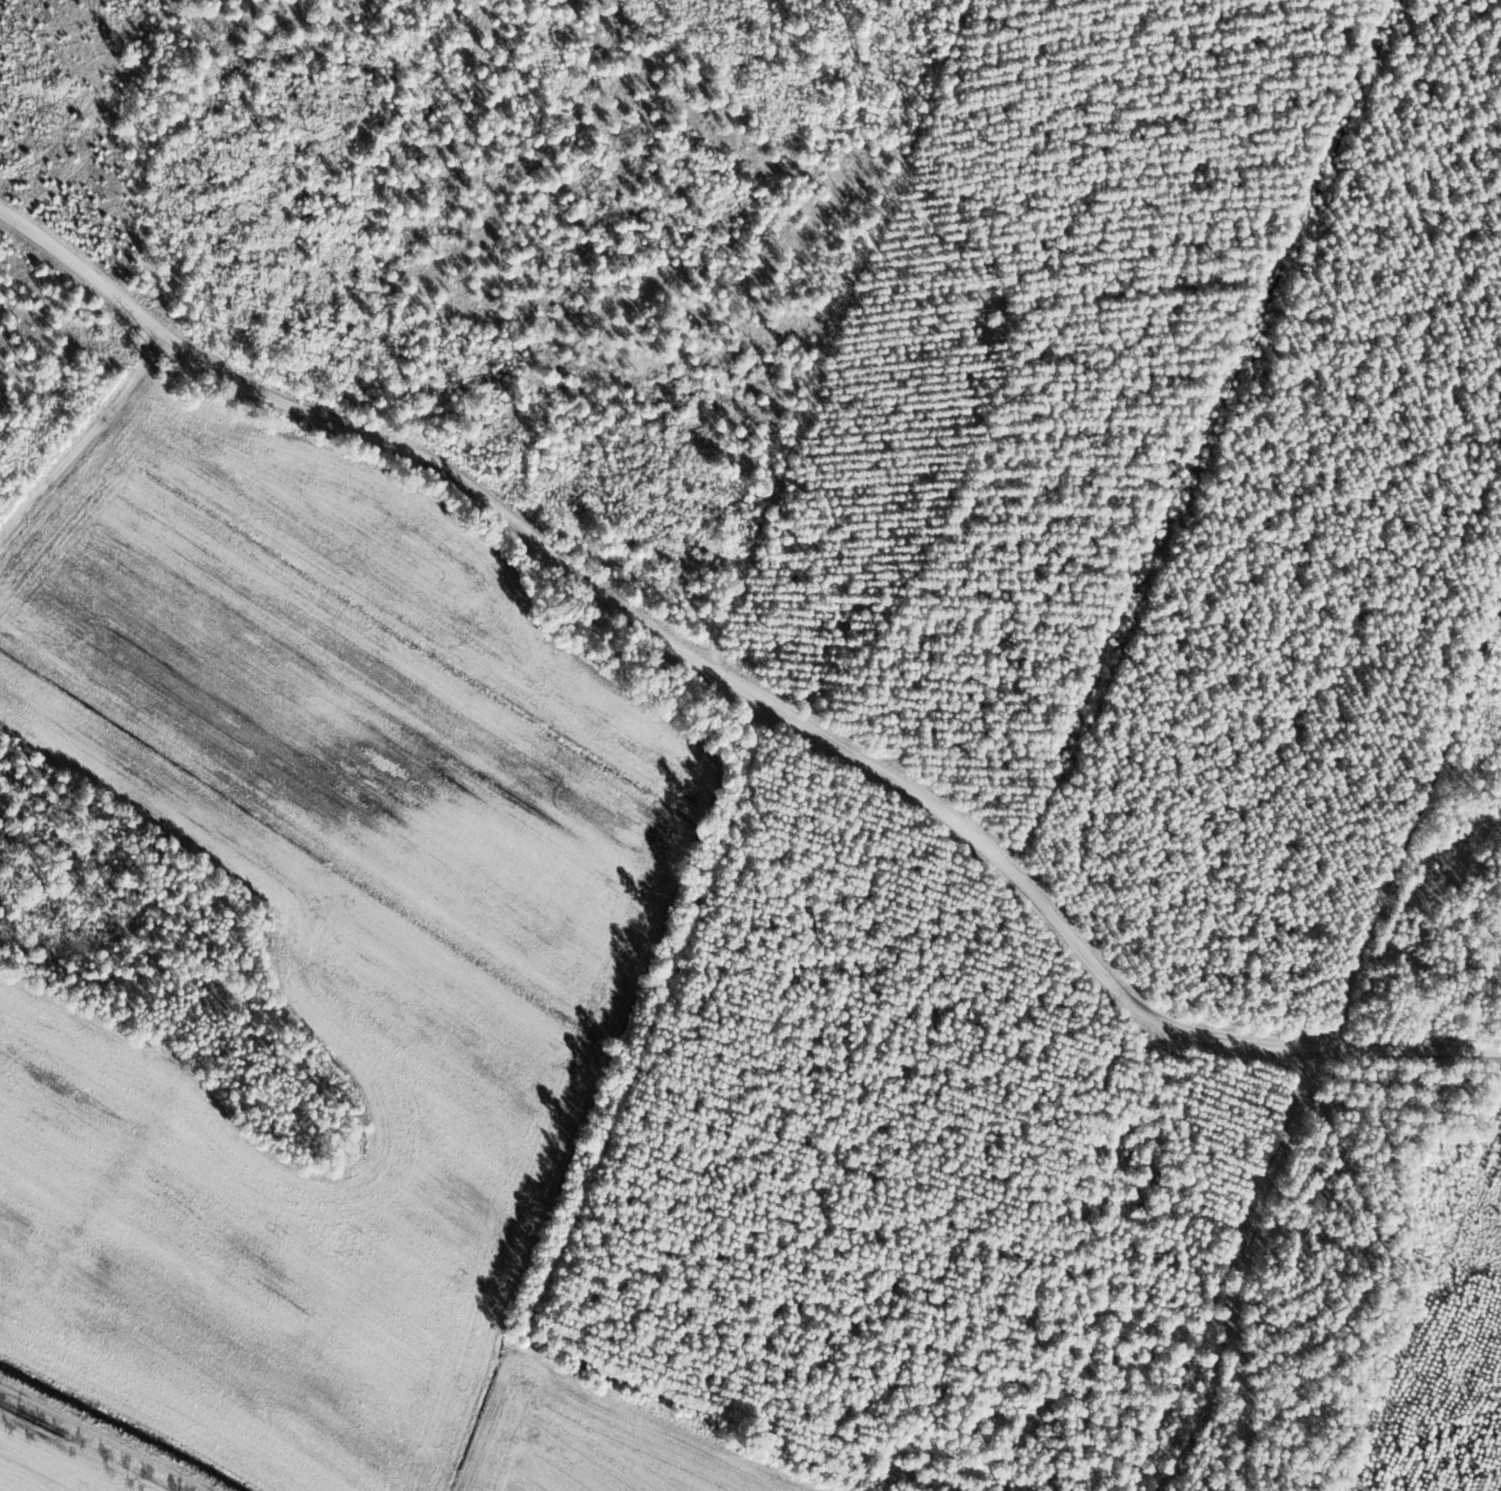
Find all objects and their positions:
road: (41, 288)
road: (34, 377)
road: (786, 699)

